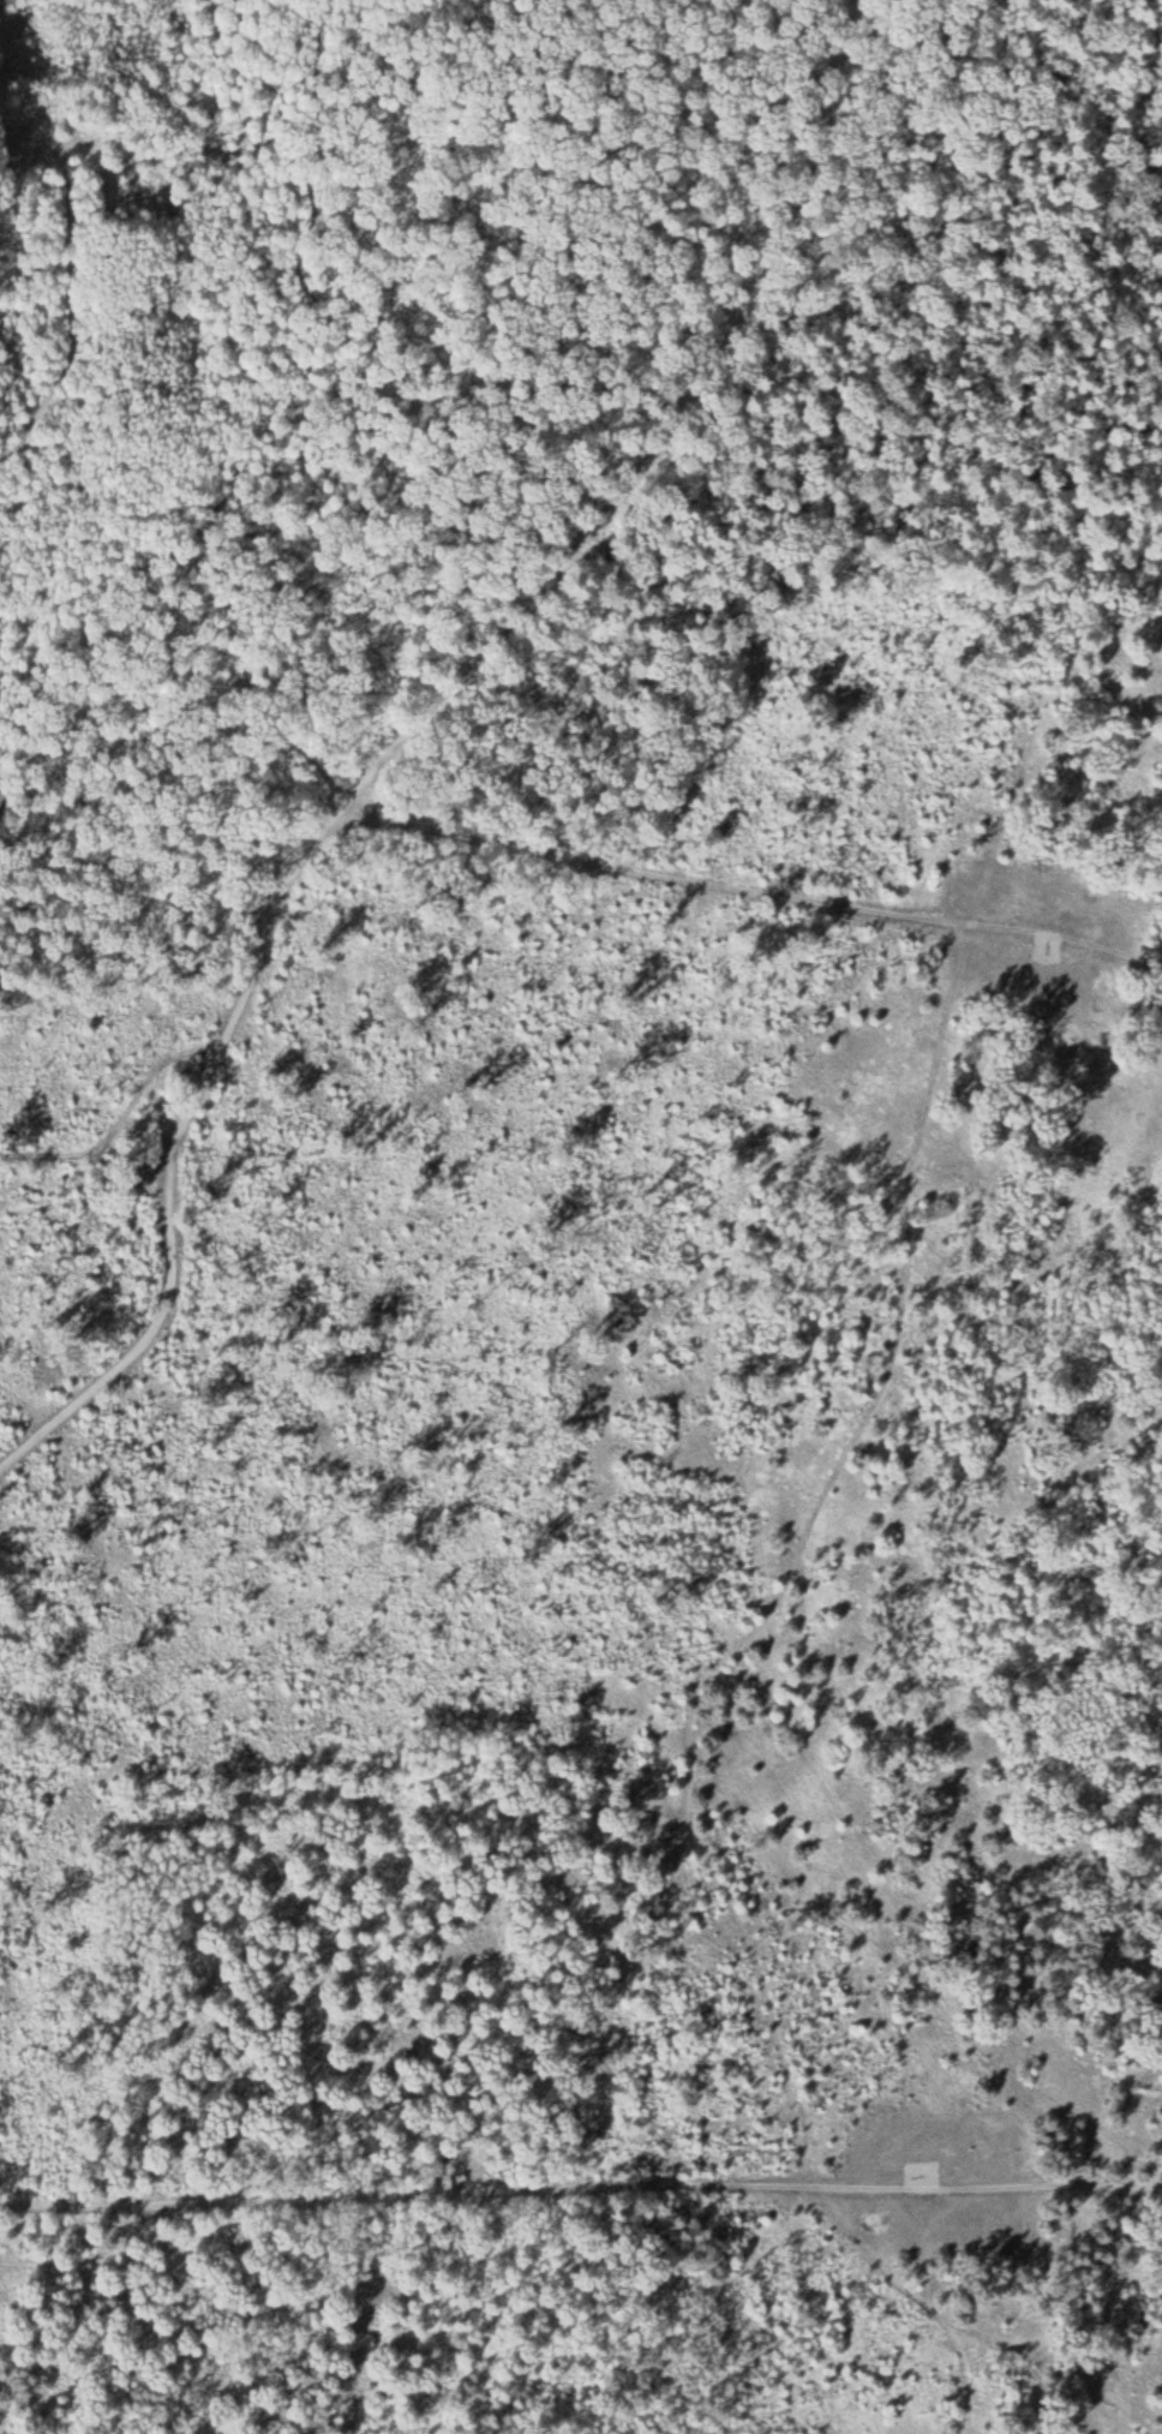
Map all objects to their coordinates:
road: (278, 389)
road: (413, 734)
road: (750, 892)
road: (582, 2195)
road: (969, 2325)

